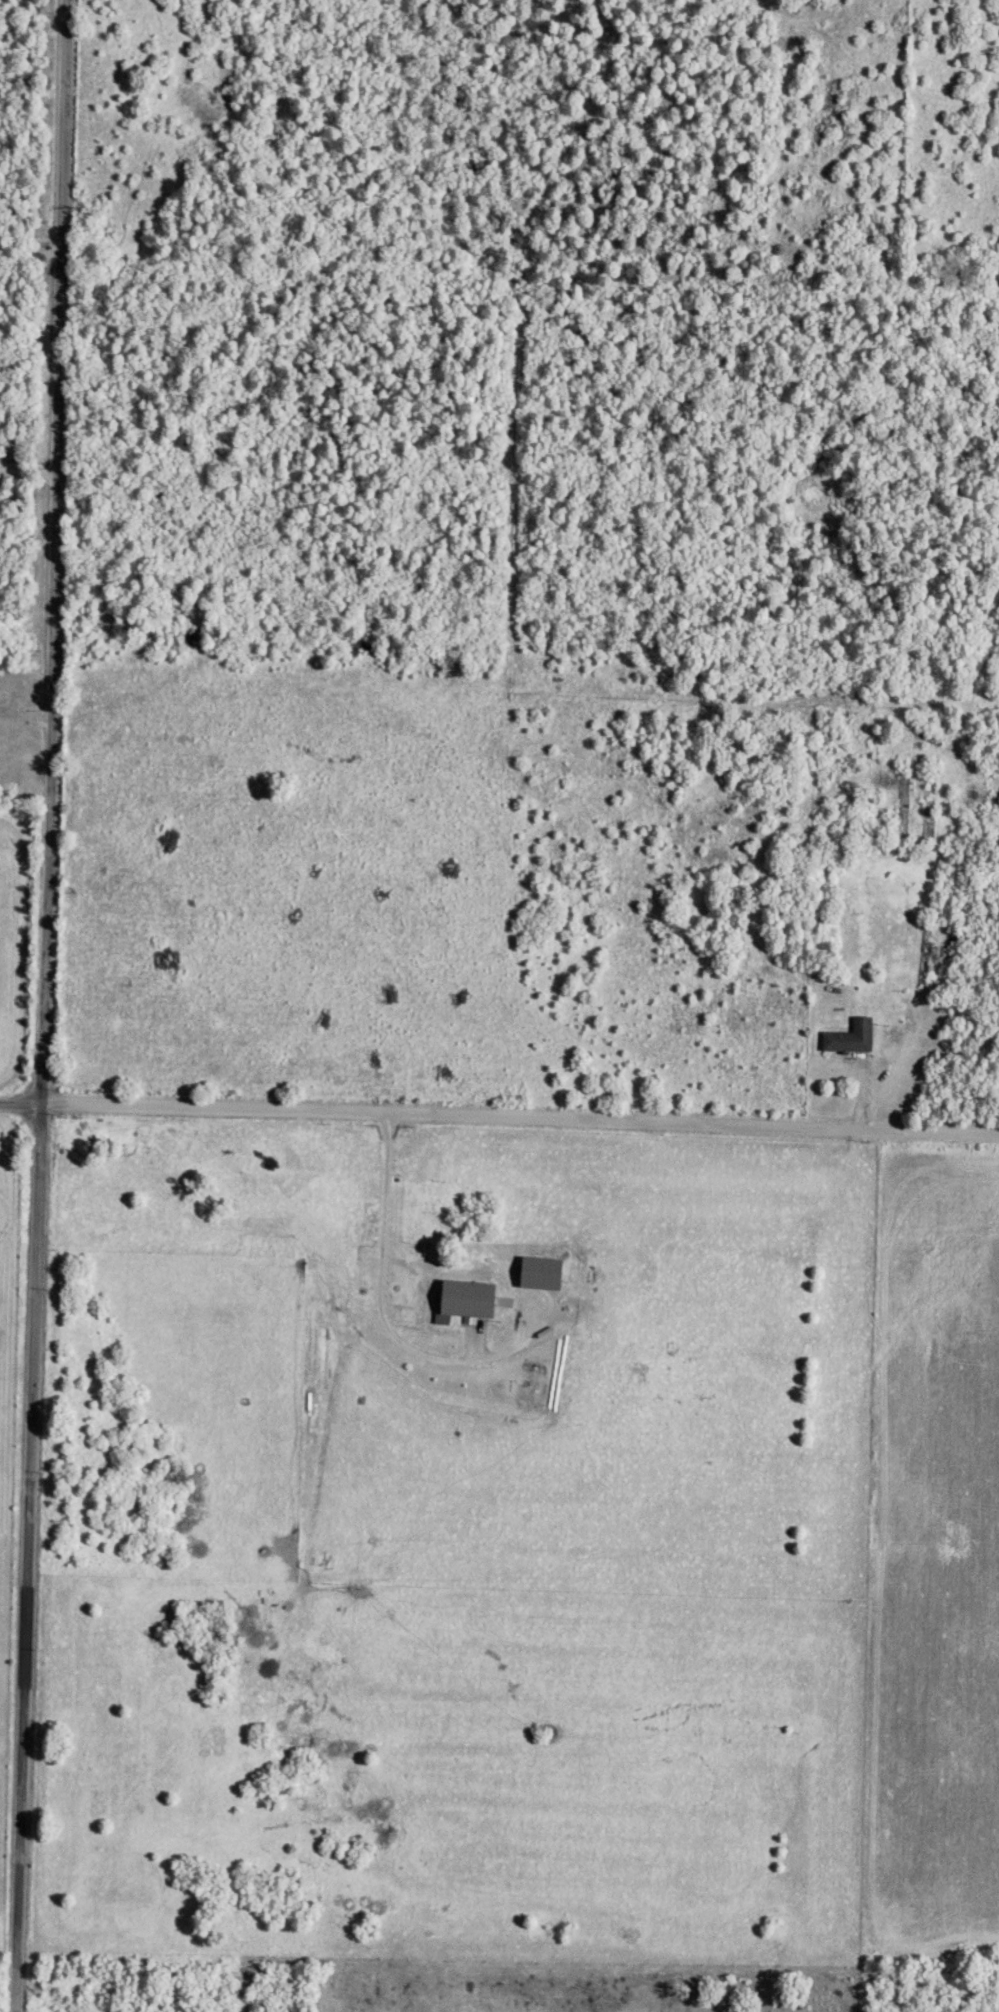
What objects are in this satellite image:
road: (33, 252)
road: (32, 470)
road: (48, 1006)
building: (846, 1039)
road: (499, 1119)
road: (385, 1268)
building: (455, 1274)

